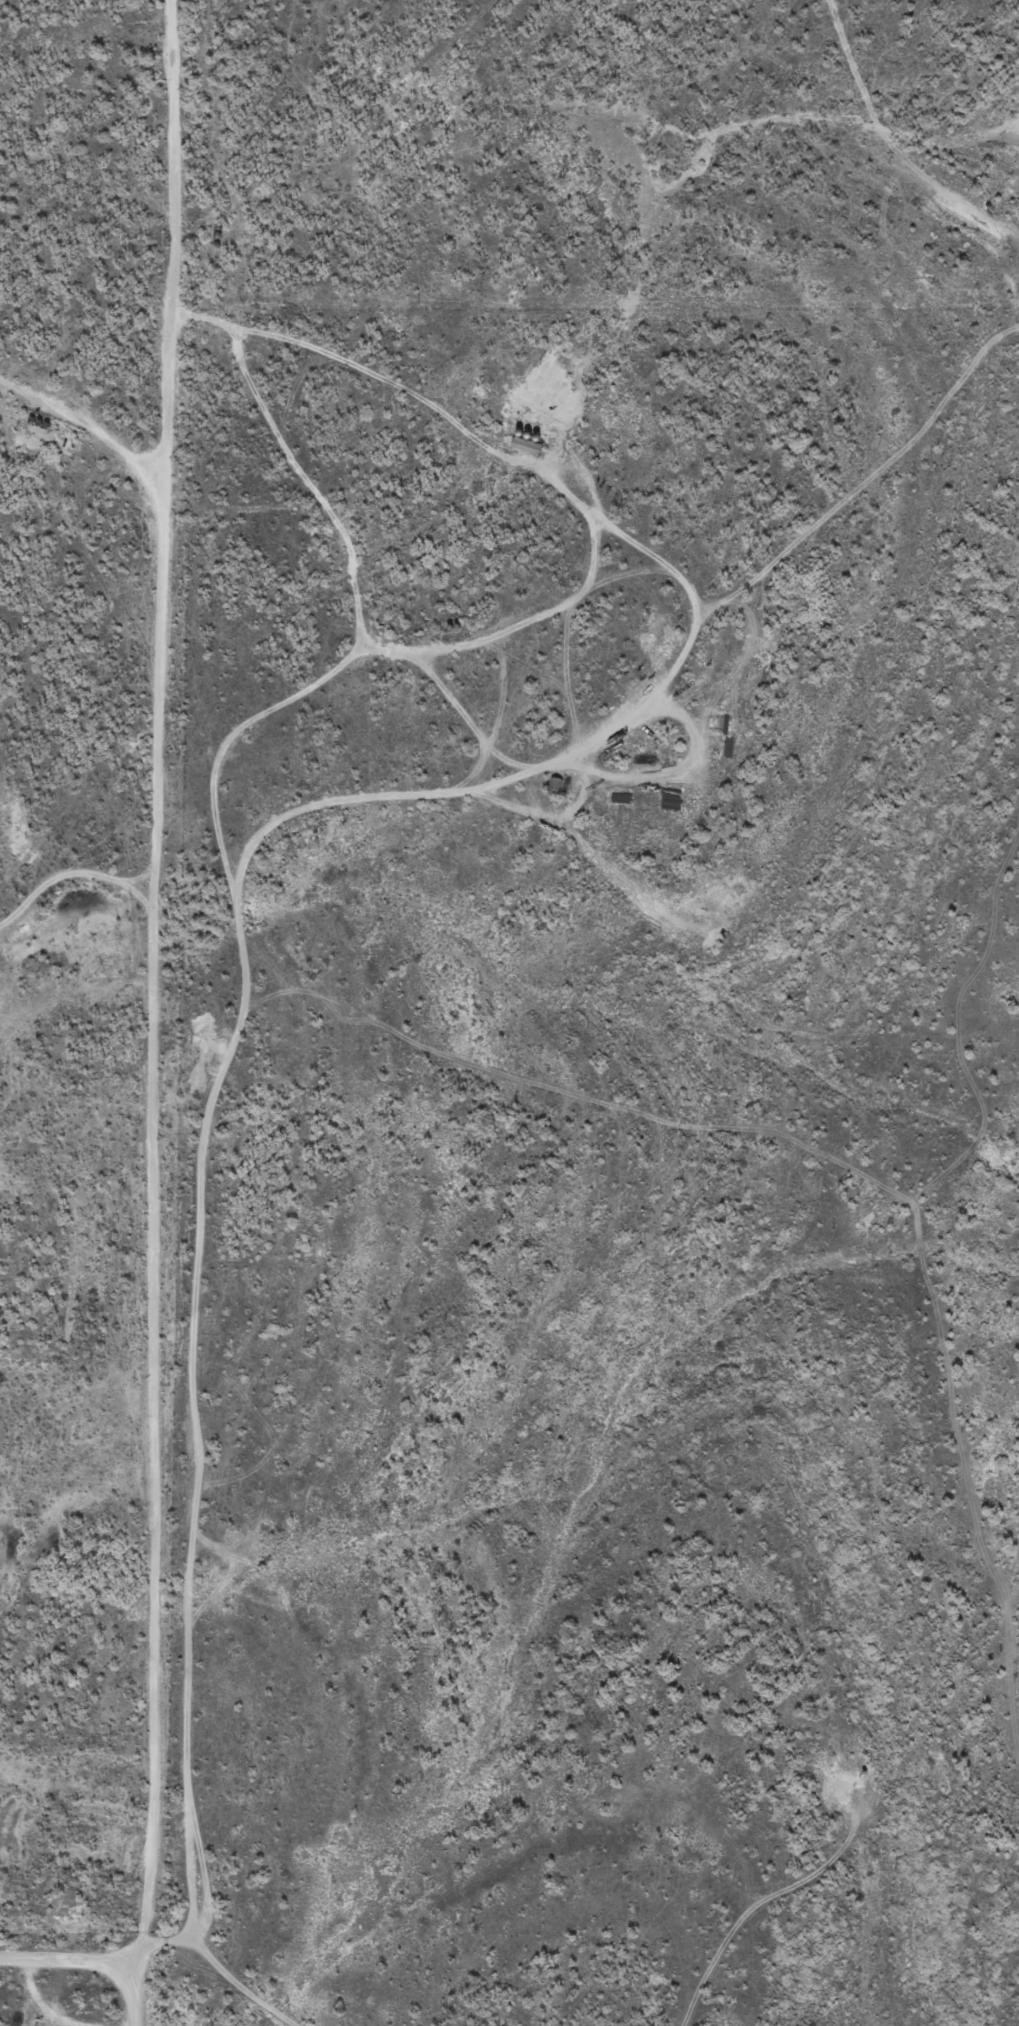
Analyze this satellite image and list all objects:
road: (78, 397)
building: (525, 443)
building: (525, 454)
road: (531, 469)
road: (624, 573)
road: (565, 677)
road: (655, 691)
road: (501, 693)
road: (504, 757)
road: (682, 766)
road: (470, 778)
building: (553, 784)
road: (553, 815)
road: (71, 890)
road: (150, 971)
road: (197, 1412)
road: (68, 1946)
road: (214, 1967)
road: (135, 1985)
road: (37, 2002)

